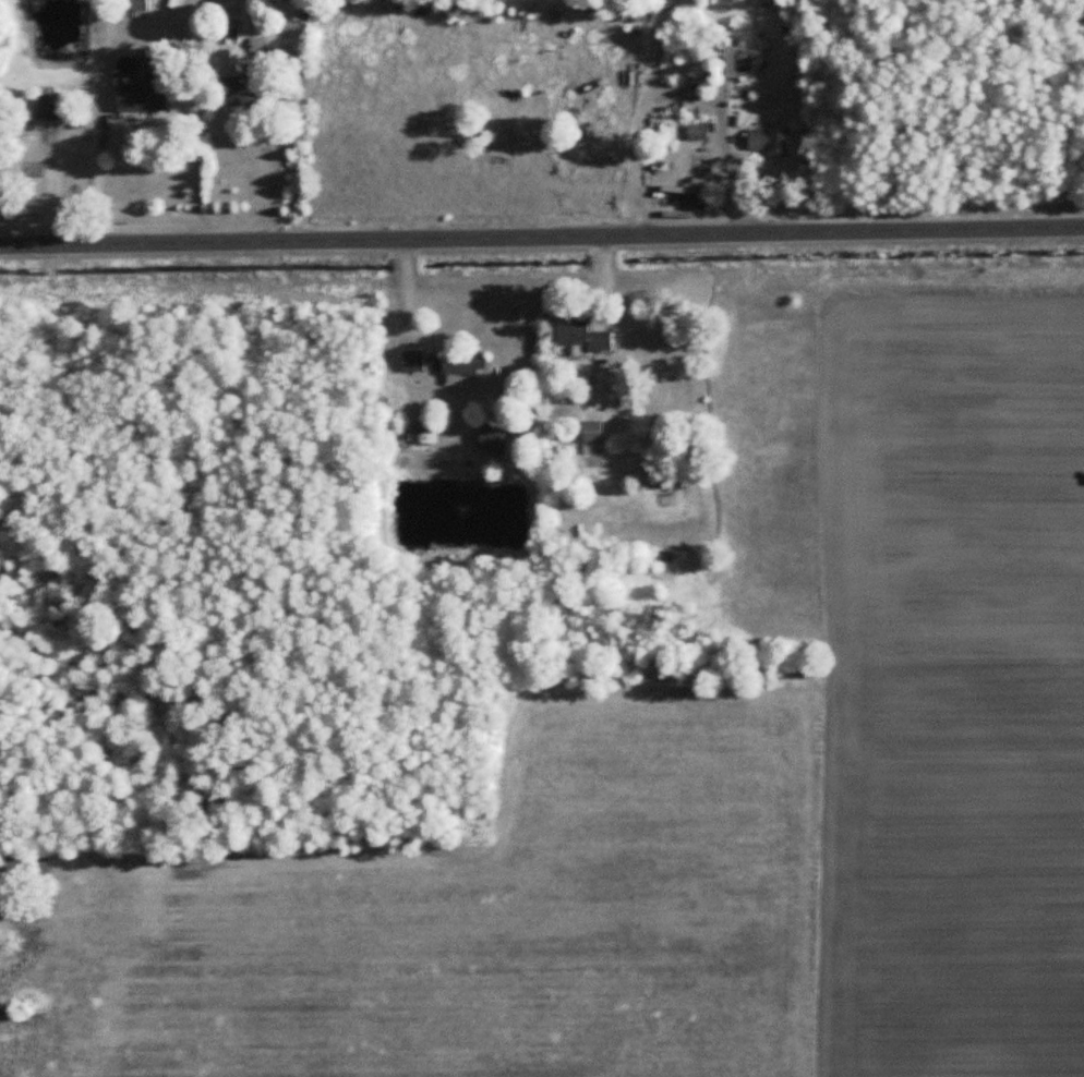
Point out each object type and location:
building: (131, 5)
building: (257, 45)
road: (109, 62)
building: (733, 62)
building: (238, 80)
building: (136, 98)
building: (48, 106)
road: (77, 124)
building: (22, 128)
road: (286, 138)
building: (769, 143)
road: (541, 233)
building: (580, 336)
building: (462, 365)
building: (592, 432)
building: (426, 437)
building: (493, 439)

